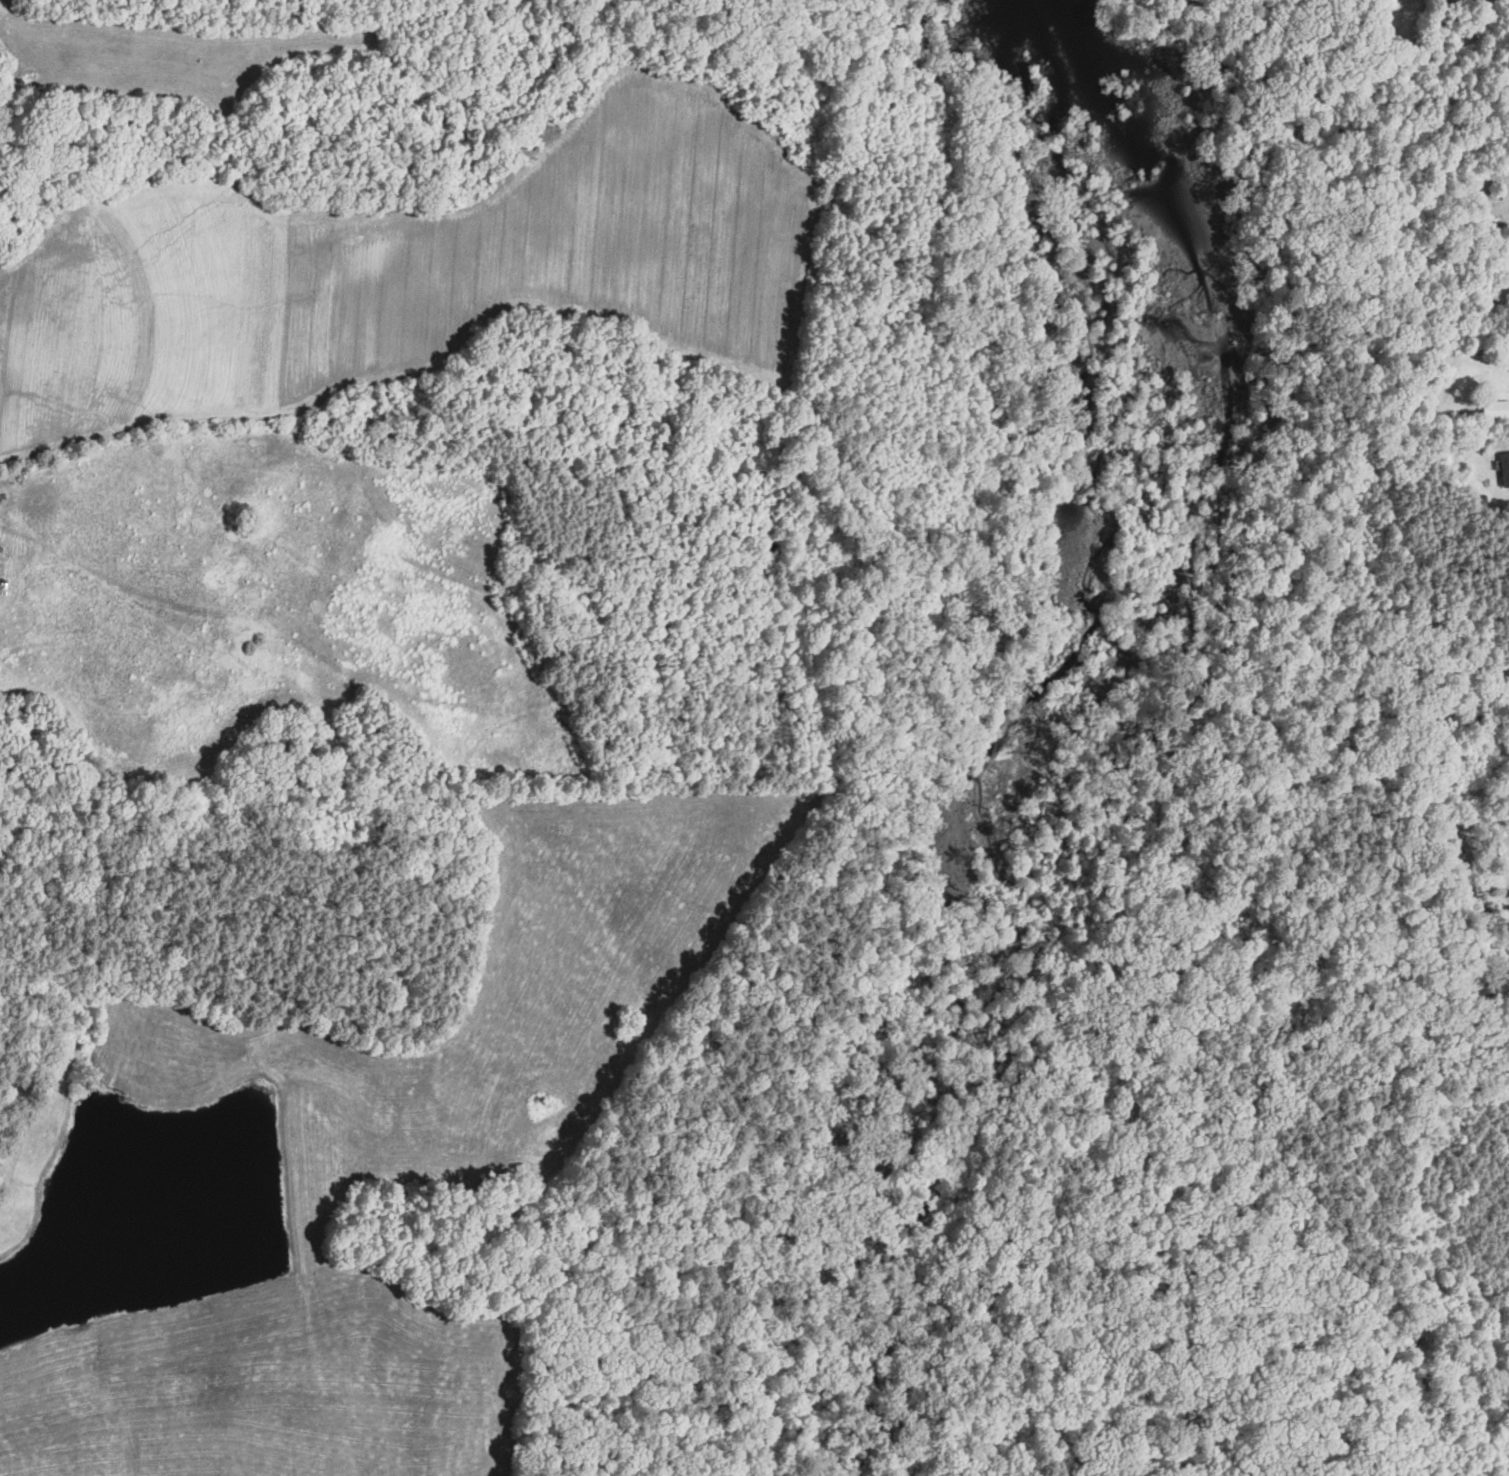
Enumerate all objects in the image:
building: (1389, 2)
building: (1496, 410)
building: (1505, 468)
building: (1483, 891)

